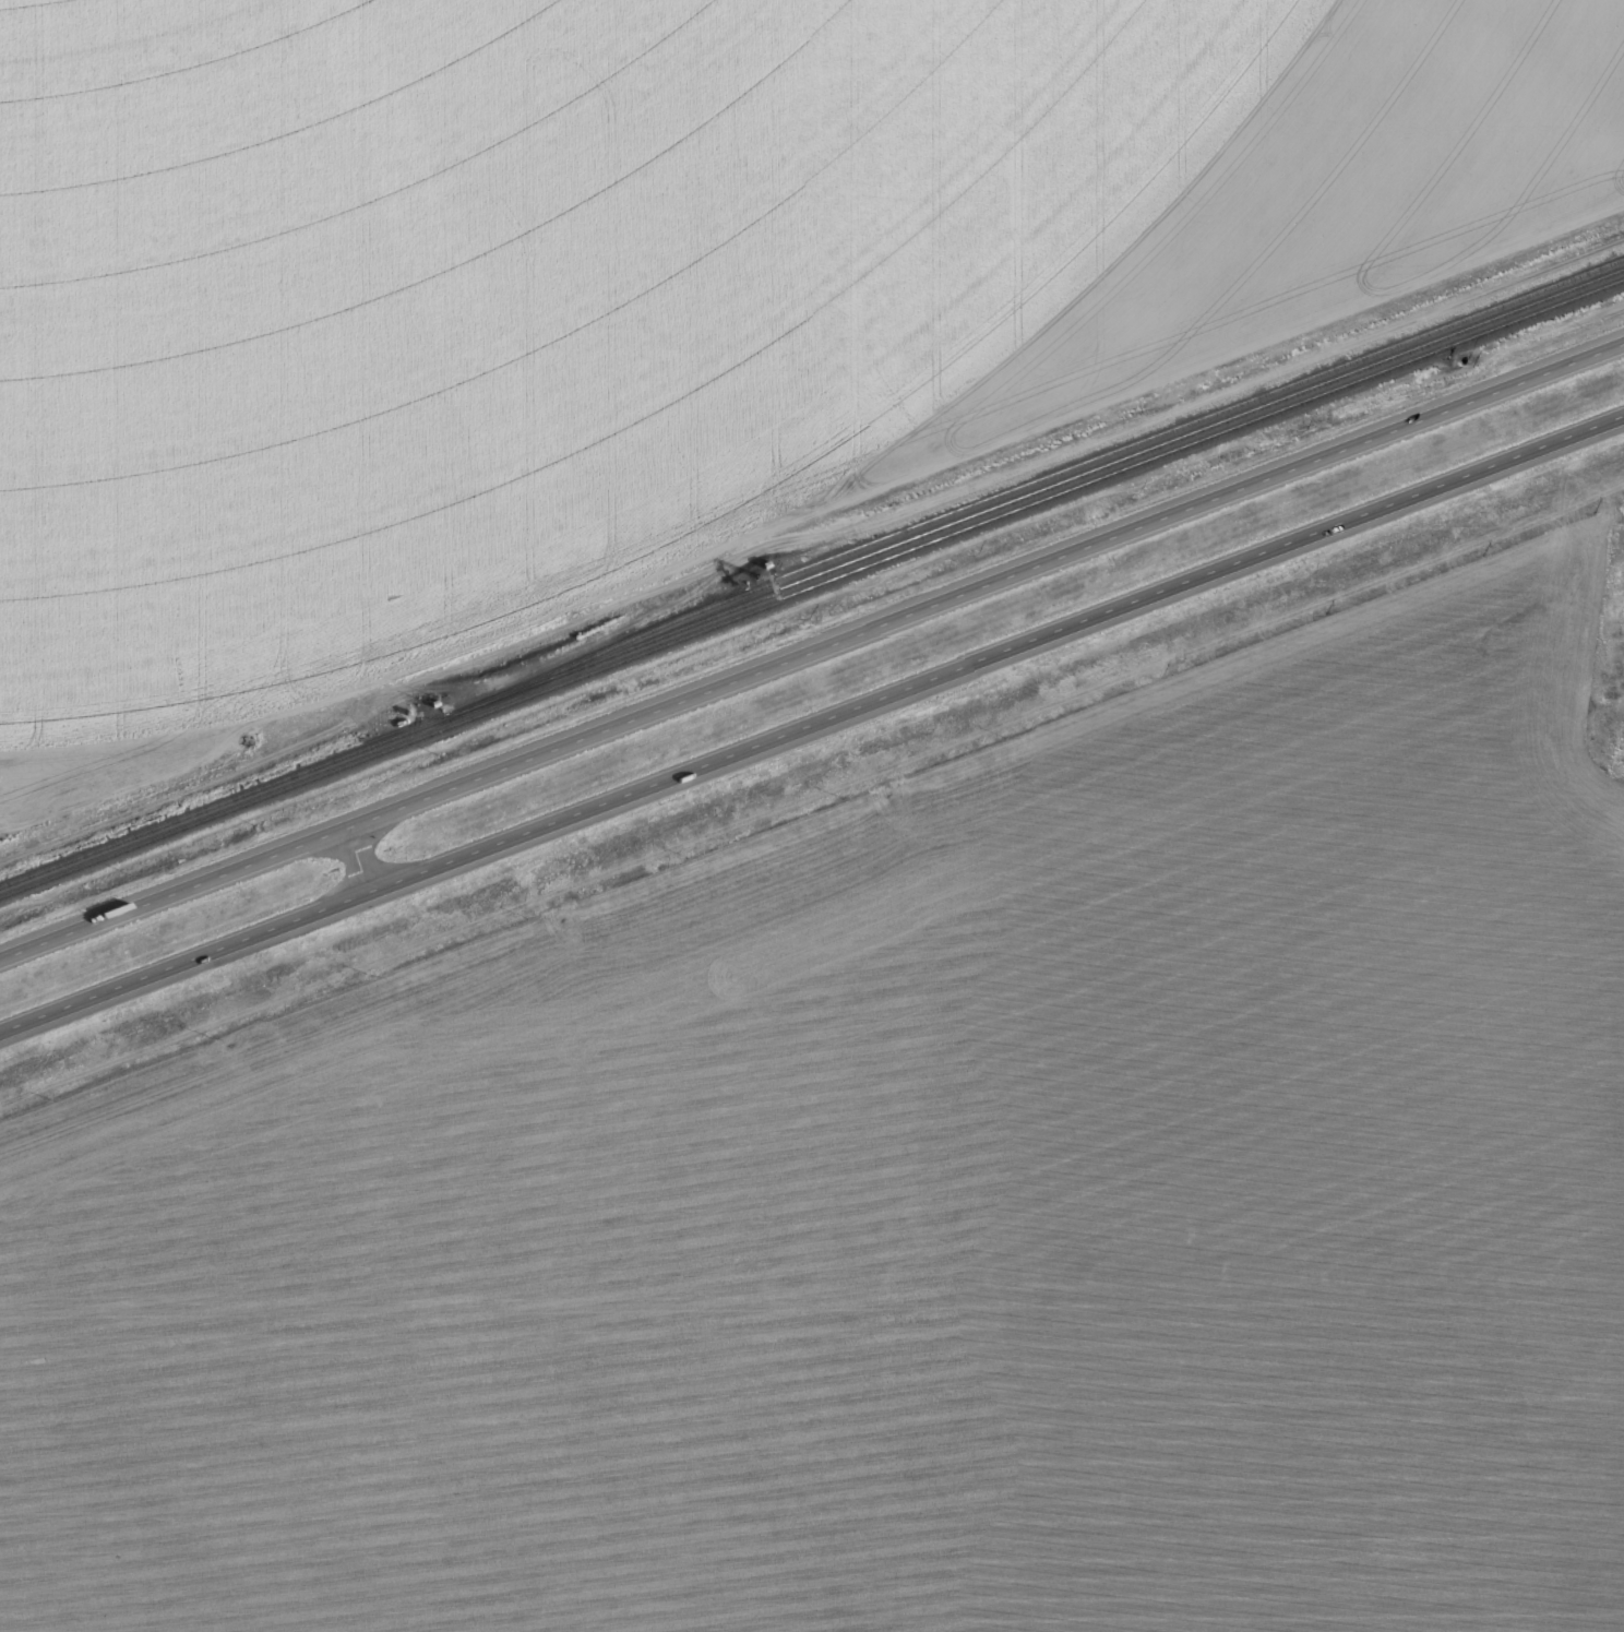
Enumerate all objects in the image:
railway: (1031, 484)
railway: (812, 579)
railway: (811, 587)
road: (811, 651)
road: (812, 722)

